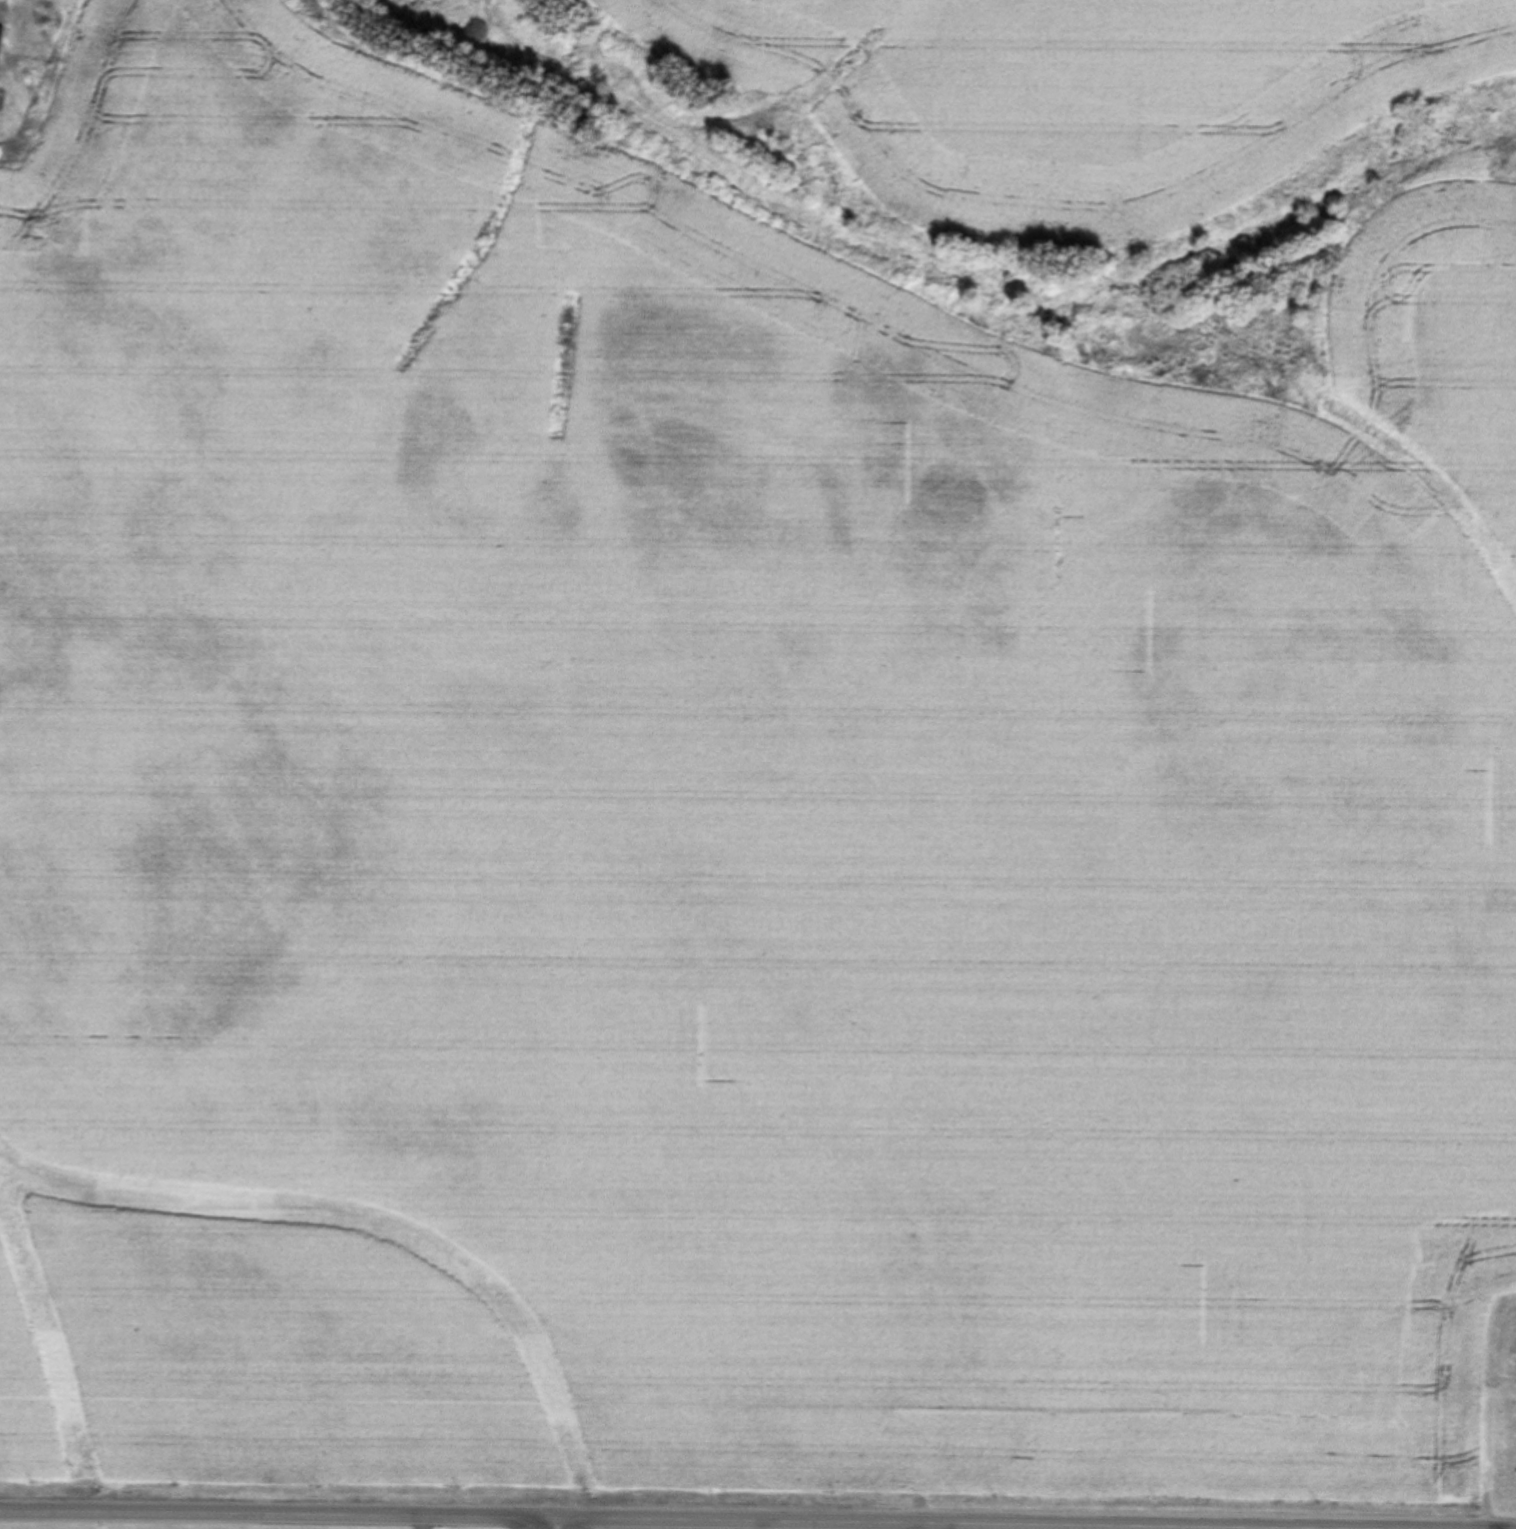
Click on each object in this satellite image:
road: (278, 1519)
road: (556, 1527)
road: (821, 1527)

